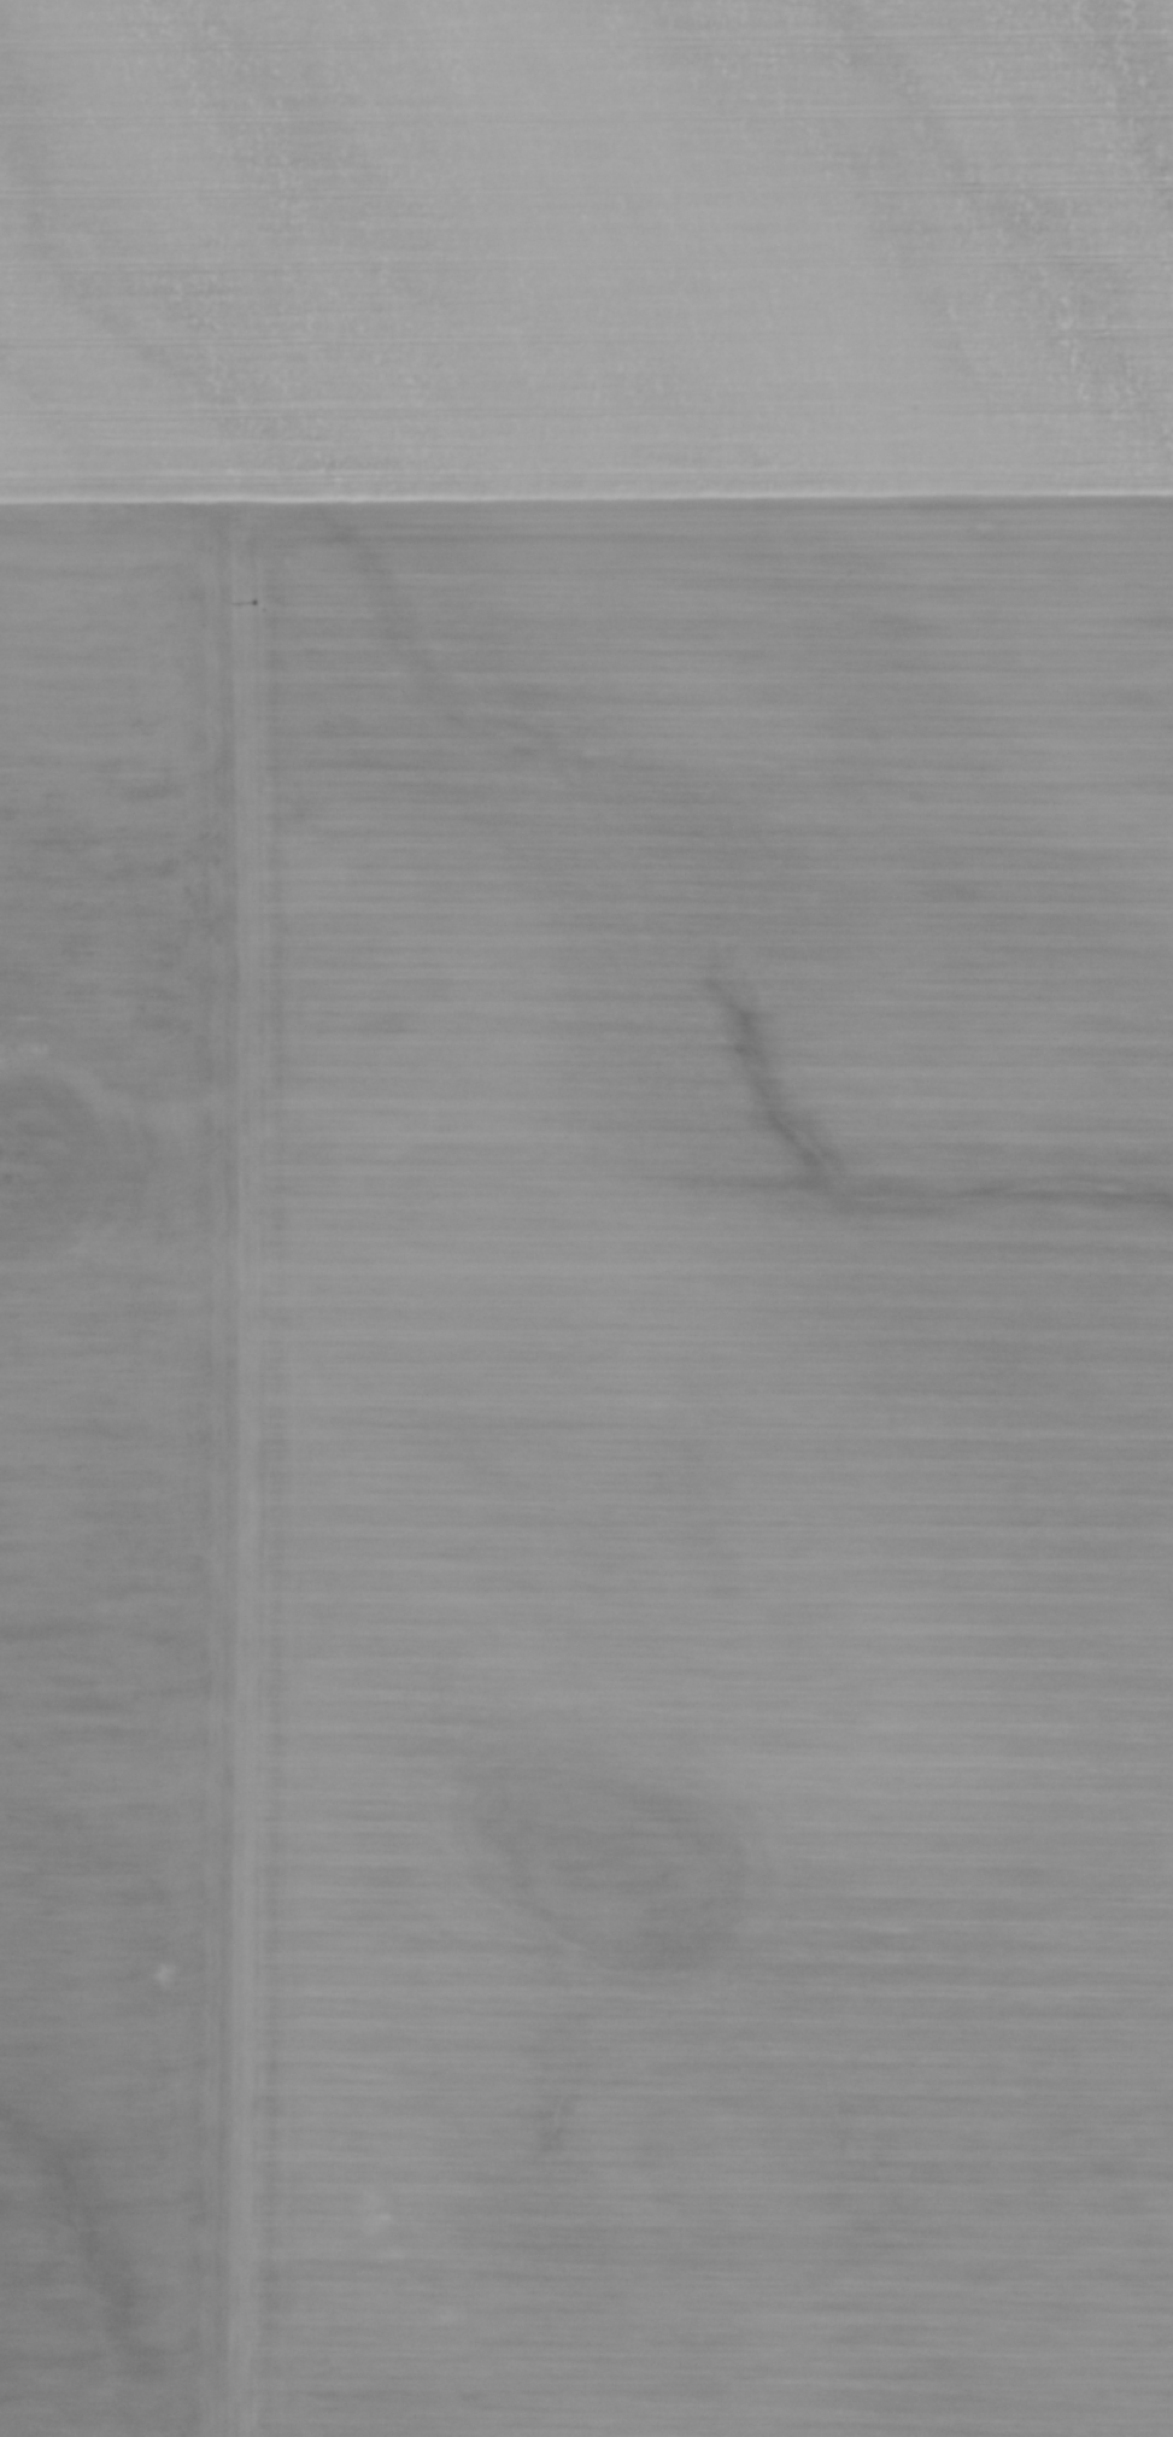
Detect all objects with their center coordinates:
crop: (586, 1218)

